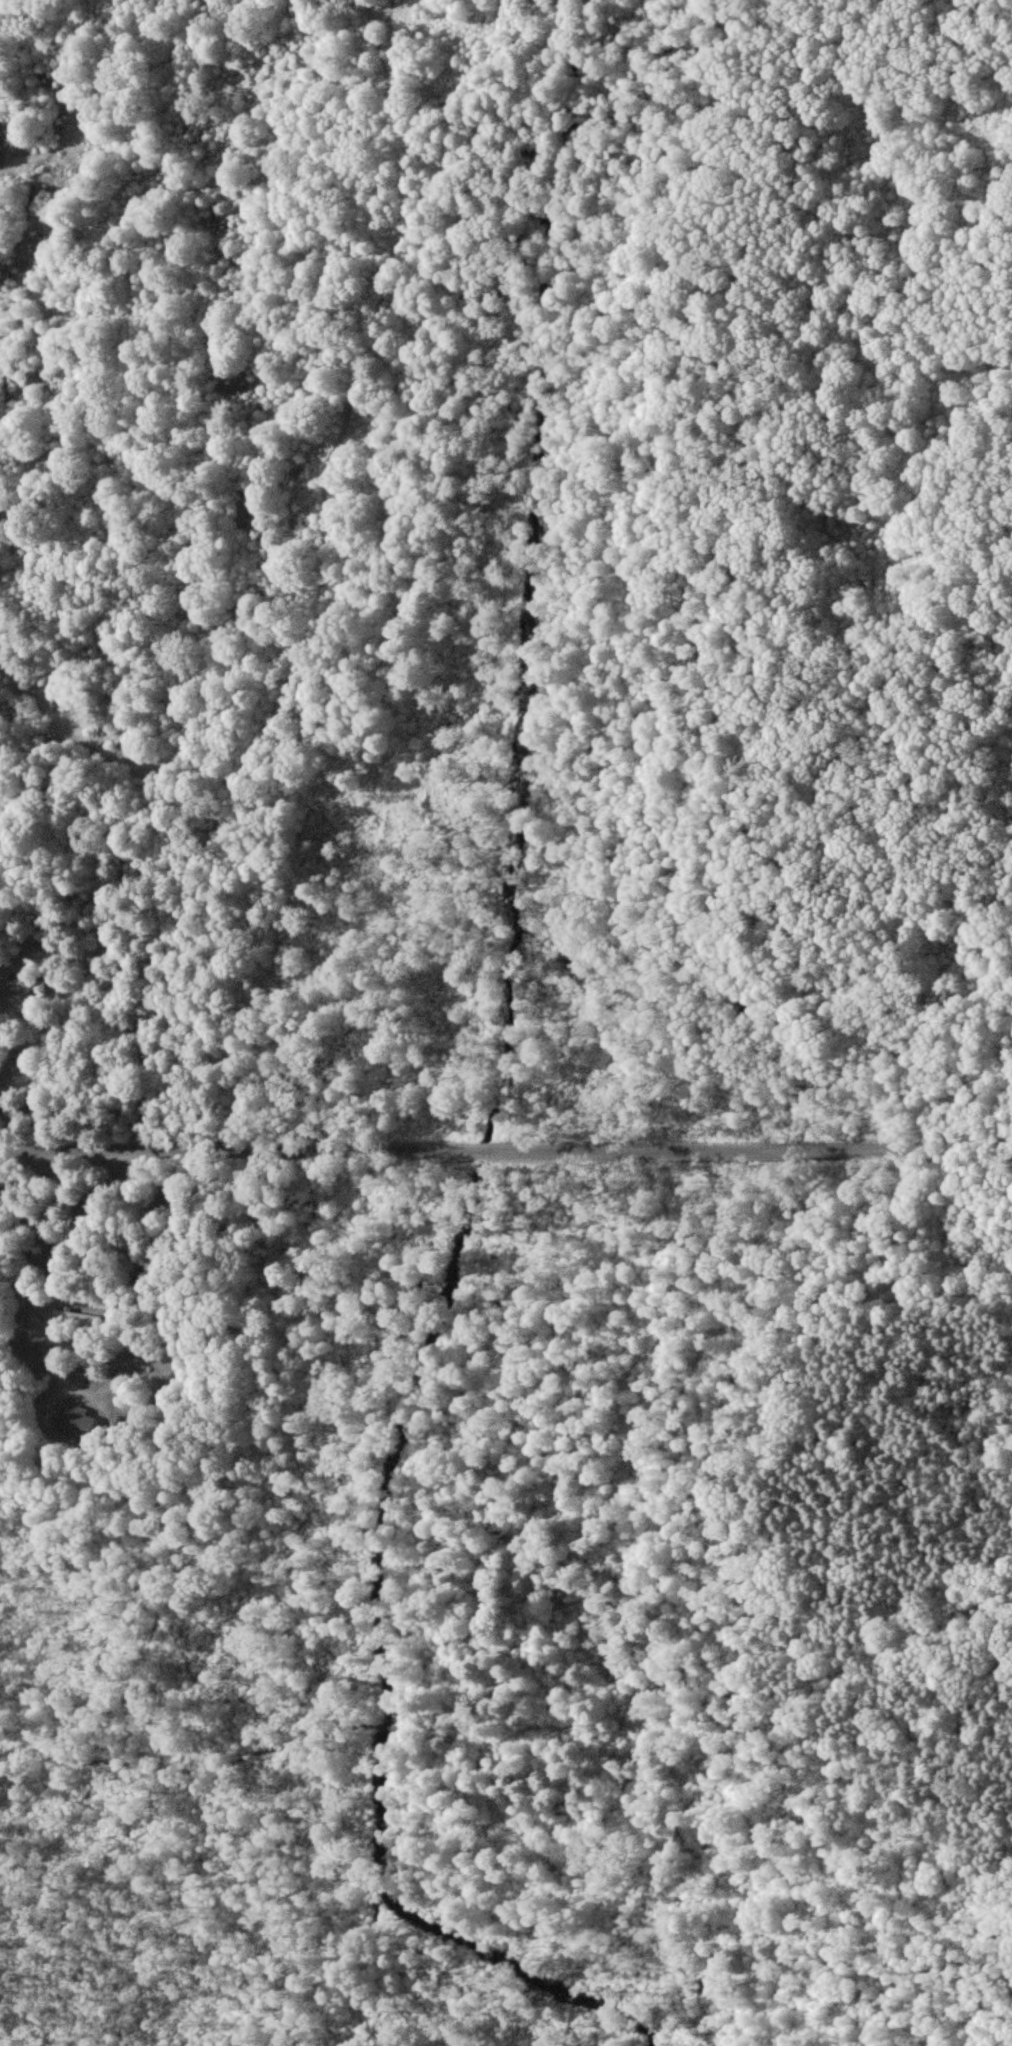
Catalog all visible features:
building: (21, 985)
road: (505, 1148)
building: (77, 1317)
building: (76, 1422)

